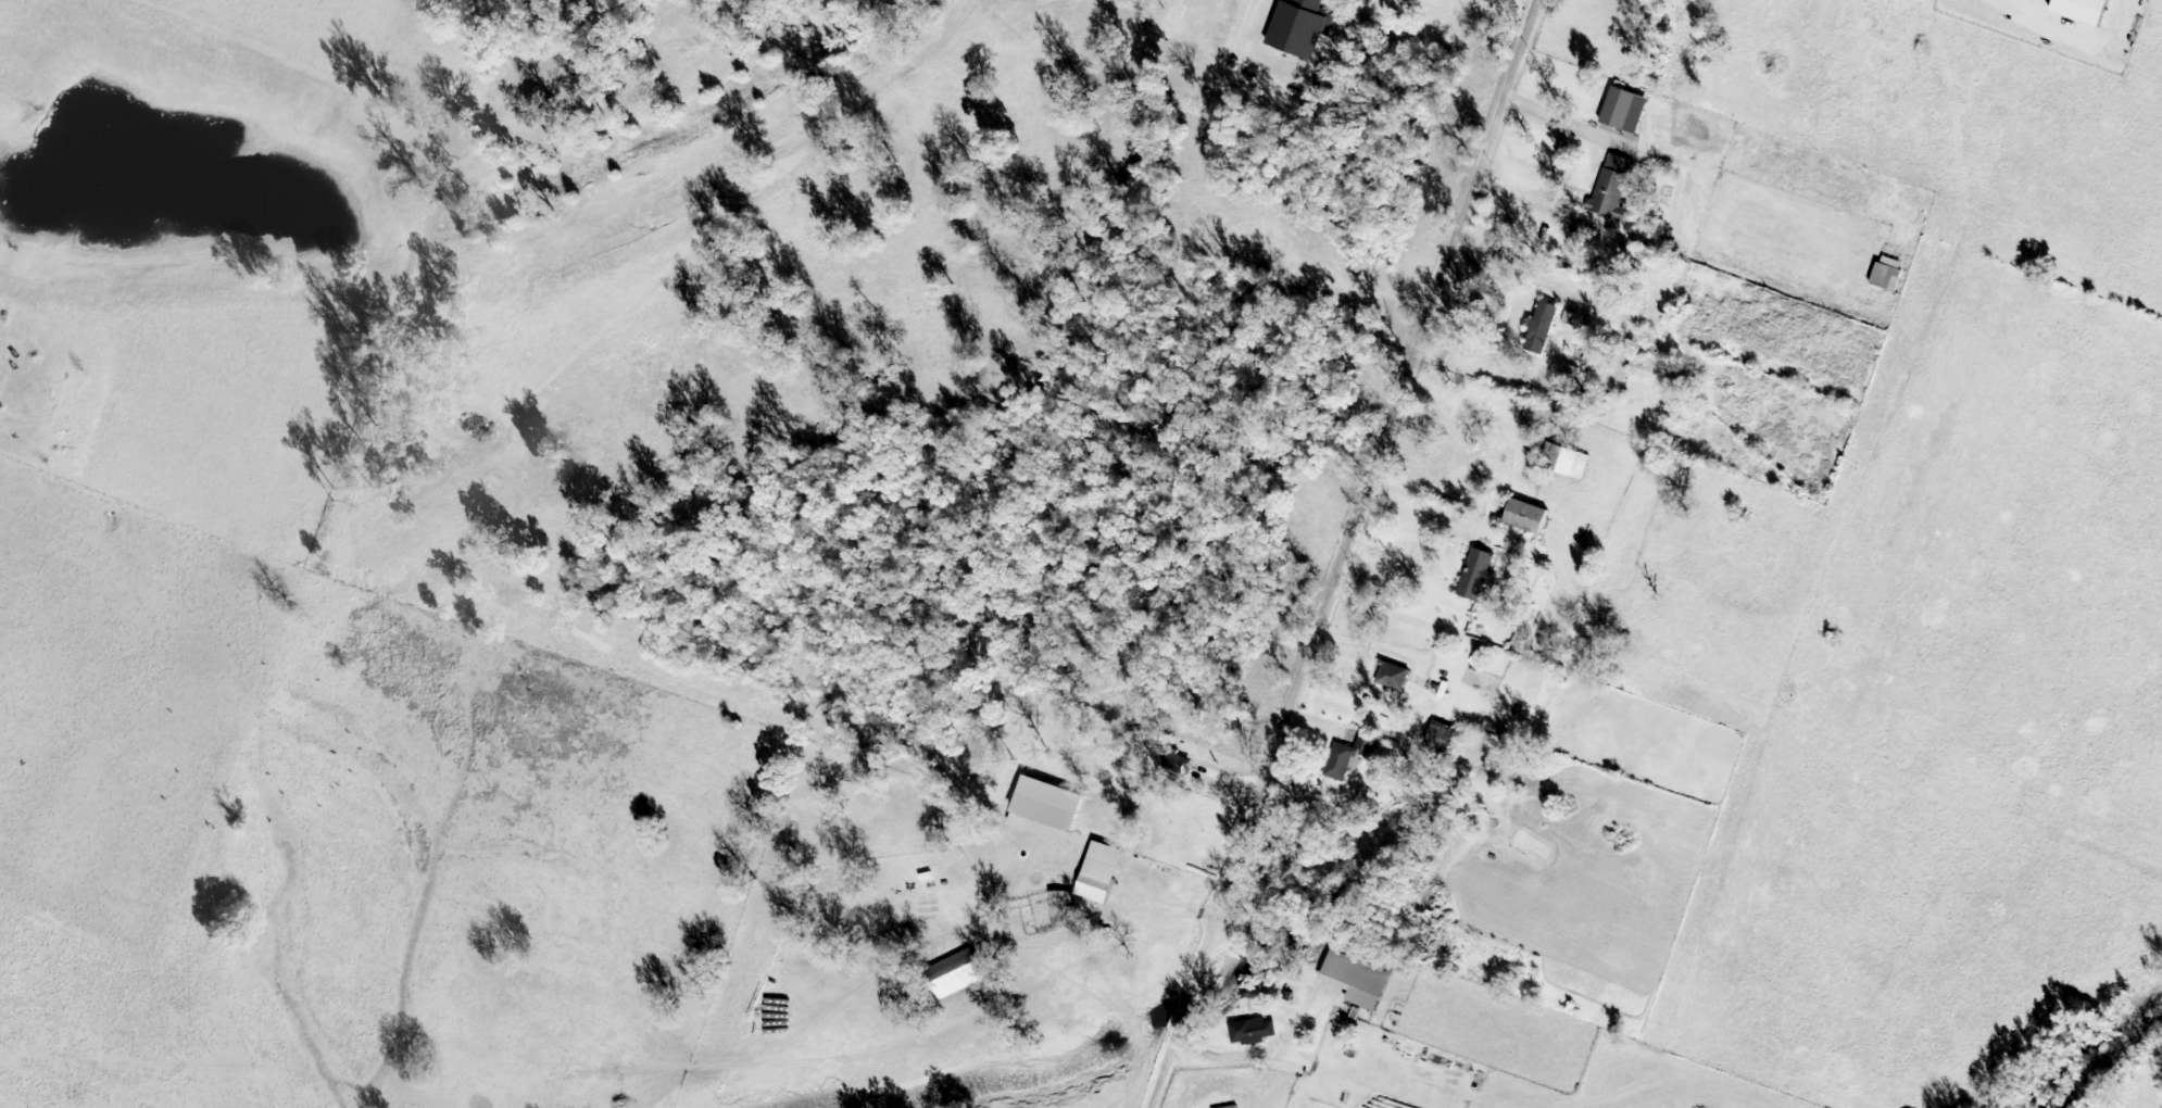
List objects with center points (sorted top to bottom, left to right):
building: (2082, 10)
building: (1299, 26)
building: (1624, 110)
road: (1567, 117)
building: (1612, 186)
road: (1514, 268)
building: (1886, 276)
building: (1542, 327)
building: (1568, 462)
road: (1431, 511)
building: (1528, 516)
road: (1347, 554)
building: (1478, 574)
building: (1394, 676)
road: (1321, 719)
building: (1441, 736)
building: (1349, 756)
building: (1177, 761)
building: (1044, 810)
building: (1099, 872)
building: (1063, 909)
building: (954, 974)
building: (1356, 980)
building: (1252, 1031)
road: (1224, 1052)

